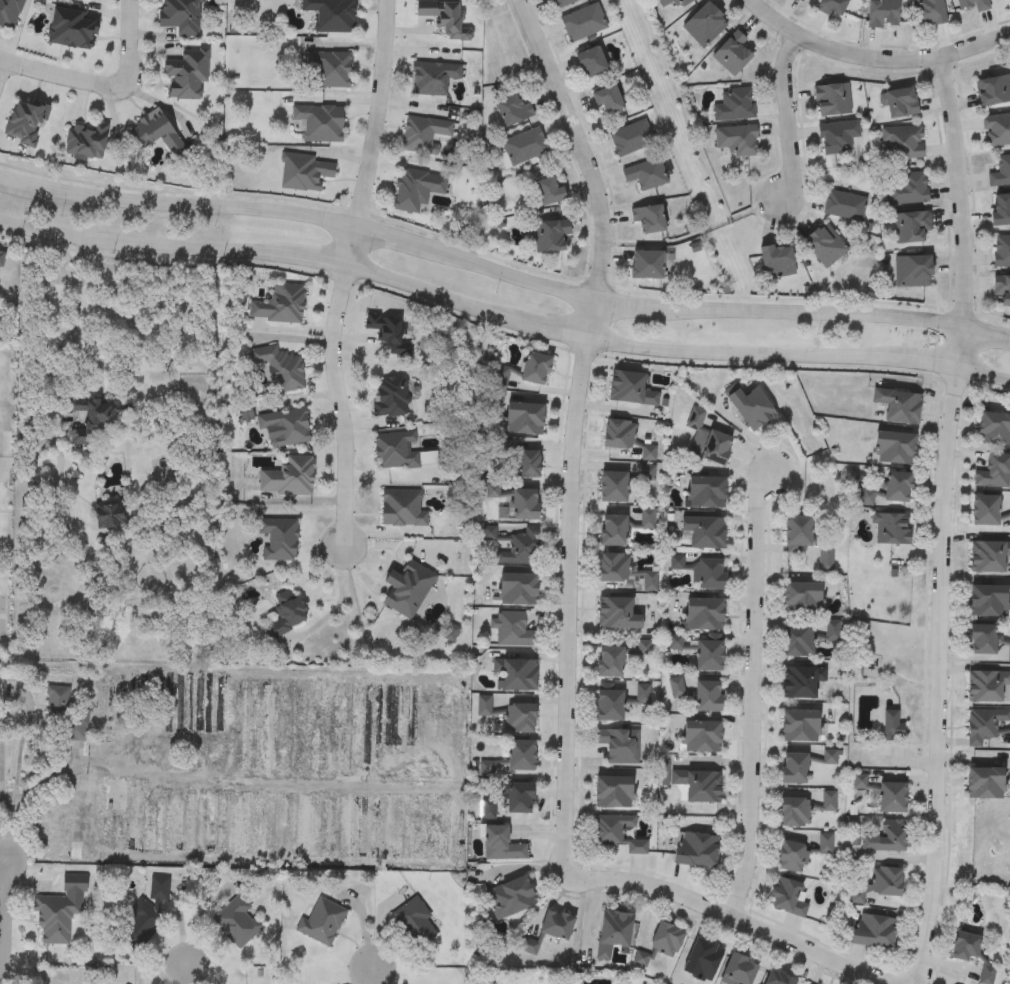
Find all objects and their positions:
building: (801, 0)
building: (1006, 0)
building: (565, 3)
building: (675, 3)
building: (974, 4)
building: (832, 7)
building: (9, 12)
building: (929, 12)
building: (884, 13)
building: (332, 15)
building: (181, 16)
building: (443, 16)
building: (583, 22)
building: (705, 25)
building: (73, 28)
road: (128, 44)
building: (732, 54)
road: (873, 59)
building: (592, 62)
road: (3, 69)
building: (331, 70)
building: (187, 73)
road: (63, 77)
building: (433, 77)
building: (994, 90)
building: (608, 100)
building: (832, 100)
building: (900, 103)
building: (735, 105)
building: (513, 110)
road: (385, 115)
road: (786, 117)
building: (320, 122)
building: (25, 123)
building: (996, 130)
building: (158, 132)
building: (423, 134)
building: (838, 137)
building: (631, 138)
building: (737, 140)
building: (86, 141)
building: (902, 143)
building: (524, 146)
road: (580, 148)
building: (305, 172)
building: (1001, 173)
building: (646, 174)
building: (907, 188)
building: (416, 189)
building: (550, 192)
building: (844, 206)
road: (963, 210)
building: (1001, 210)
building: (649, 219)
building: (912, 227)
building: (550, 237)
road: (349, 246)
building: (825, 246)
road: (149, 247)
building: (1002, 252)
building: (1, 260)
building: (778, 262)
road: (323, 263)
building: (648, 266)
building: (913, 271)
road: (502, 273)
building: (1002, 289)
road: (436, 297)
building: (280, 305)
road: (73, 306)
road: (588, 321)
building: (387, 331)
road: (556, 333)
road: (745, 353)
road: (933, 363)
building: (280, 368)
building: (536, 369)
road: (985, 373)
building: (630, 389)
building: (390, 397)
road: (339, 405)
building: (899, 406)
building: (752, 408)
building: (99, 418)
building: (524, 419)
building: (286, 427)
building: (995, 430)
building: (619, 435)
building: (707, 441)
building: (896, 449)
building: (396, 451)
building: (529, 464)
building: (995, 473)
building: (288, 478)
building: (3, 479)
building: (614, 488)
building: (891, 491)
building: (706, 493)
building: (526, 505)
building: (402, 509)
building: (986, 512)
building: (110, 516)
building: (892, 529)
building: (614, 531)
building: (705, 532)
building: (279, 539)
building: (806, 542)
building: (514, 545)
building: (990, 558)
building: (614, 569)
building: (702, 571)
building: (648, 584)
building: (408, 589)
building: (518, 590)
building: (803, 598)
building: (990, 601)
road: (566, 607)
building: (286, 614)
building: (618, 614)
building: (705, 615)
building: (512, 631)
building: (810, 639)
building: (984, 641)
building: (710, 656)
building: (610, 663)
building: (516, 675)
road: (939, 676)
building: (801, 683)
building: (989, 686)
building: (182, 695)
road: (751, 696)
building: (708, 697)
building: (610, 706)
building: (376, 718)
building: (521, 718)
building: (987, 725)
building: (801, 726)
building: (893, 728)
building: (702, 736)
building: (619, 745)
building: (521, 756)
building: (795, 769)
road: (221, 777)
building: (985, 784)
building: (698, 785)
building: (614, 793)
building: (893, 797)
building: (517, 798)
building: (488, 809)
building: (794, 809)
road: (4, 813)
building: (147, 819)
building: (214, 823)
building: (618, 833)
building: (887, 838)
building: (501, 844)
building: (696, 850)
building: (793, 857)
building: (880, 884)
building: (511, 897)
building: (790, 897)
building: (144, 915)
road: (731, 916)
building: (55, 919)
building: (236, 922)
building: (321, 922)
road: (2, 923)
building: (415, 923)
building: (558, 924)
building: (873, 931)
building: (614, 932)
building: (667, 940)
building: (966, 946)
building: (703, 960)
building: (740, 970)
road: (191, 973)
road: (370, 976)
building: (779, 978)

